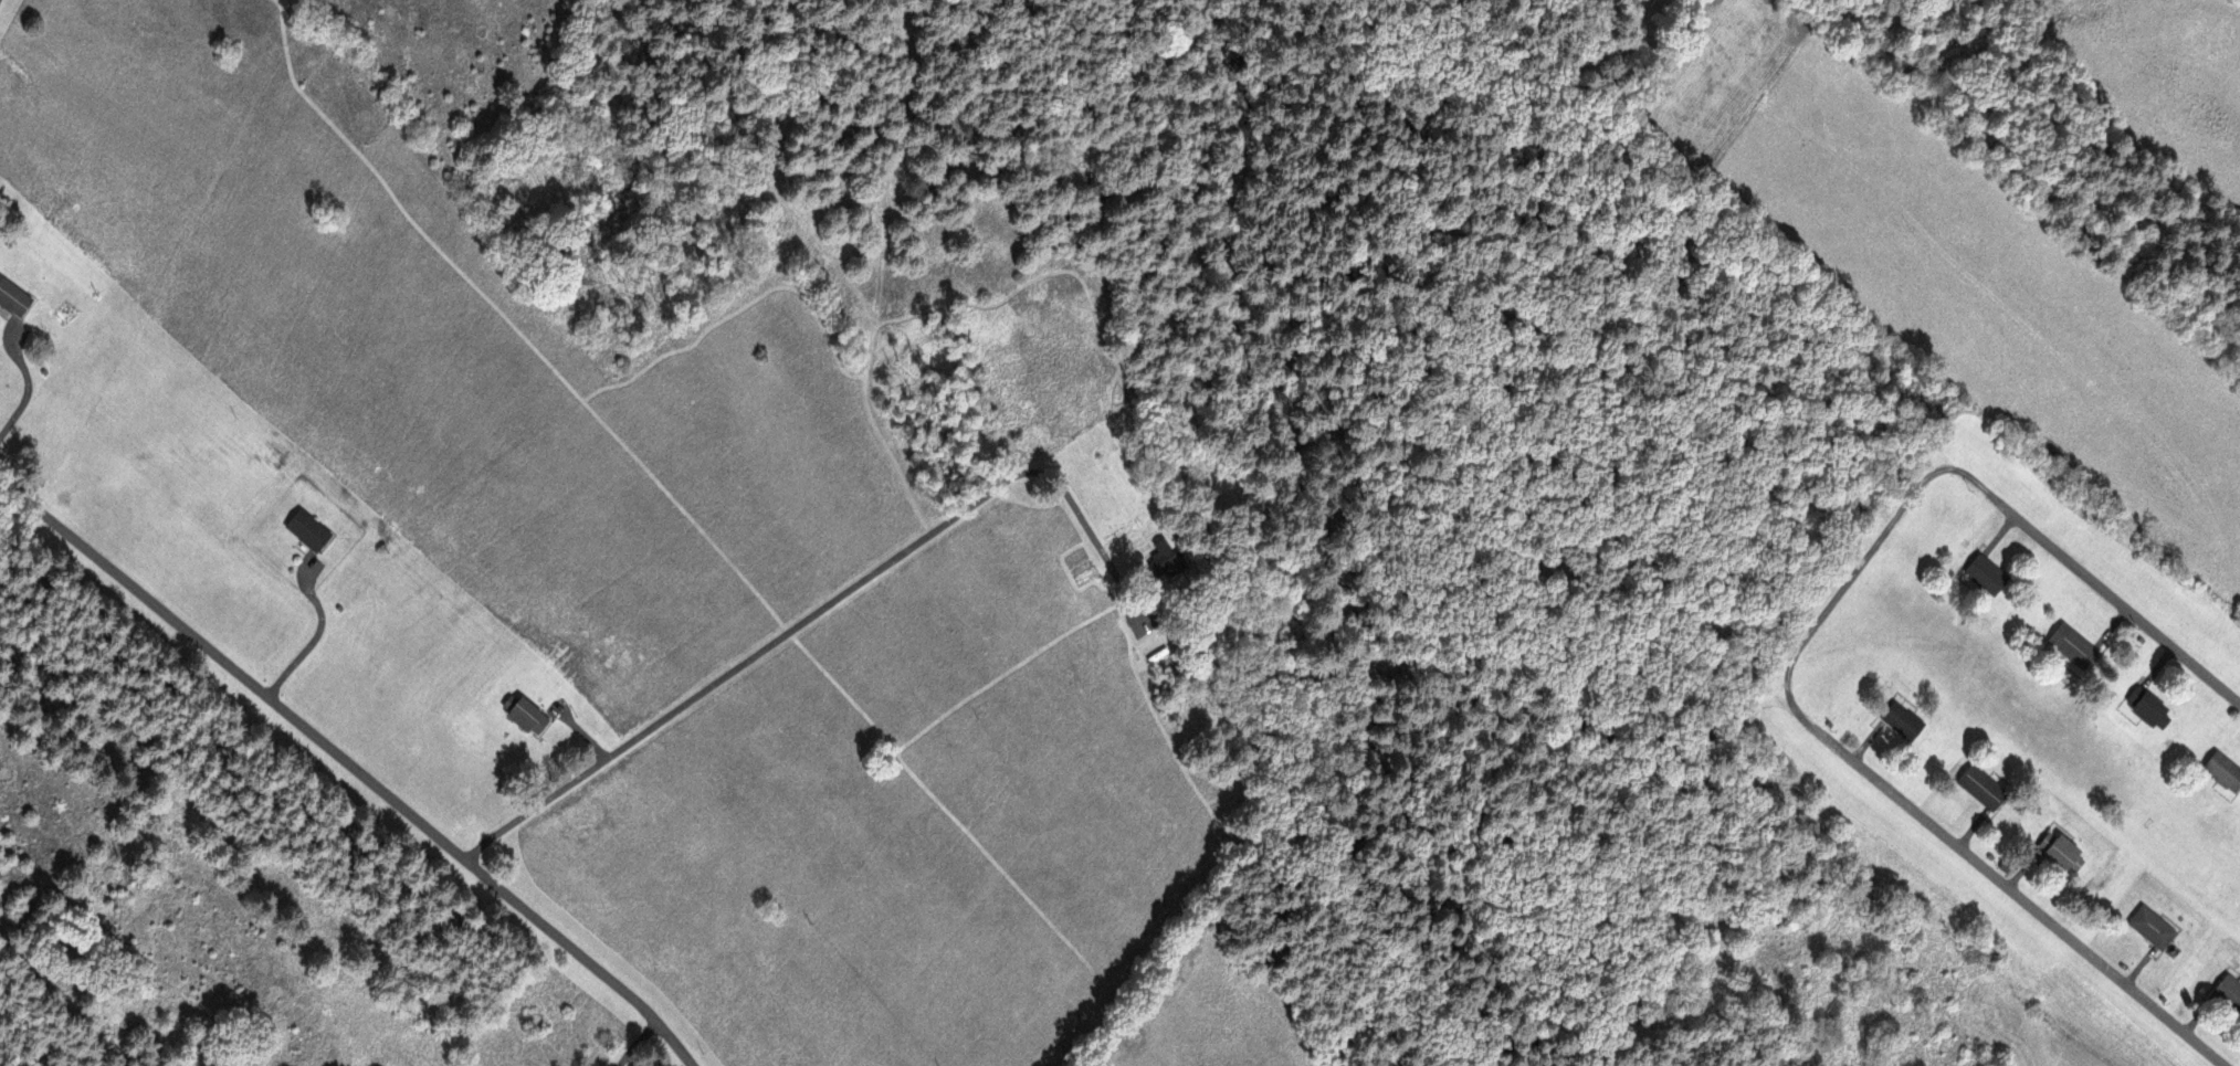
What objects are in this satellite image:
building: (12, 299)
building: (306, 530)
building: (1984, 573)
road: (822, 606)
building: (2071, 647)
road: (1797, 662)
building: (2145, 707)
building: (524, 717)
building: (1899, 720)
road: (354, 764)
building: (2221, 771)
building: (1978, 785)
building: (2055, 848)
building: (2146, 926)
building: (2227, 992)
road: (638, 1044)

